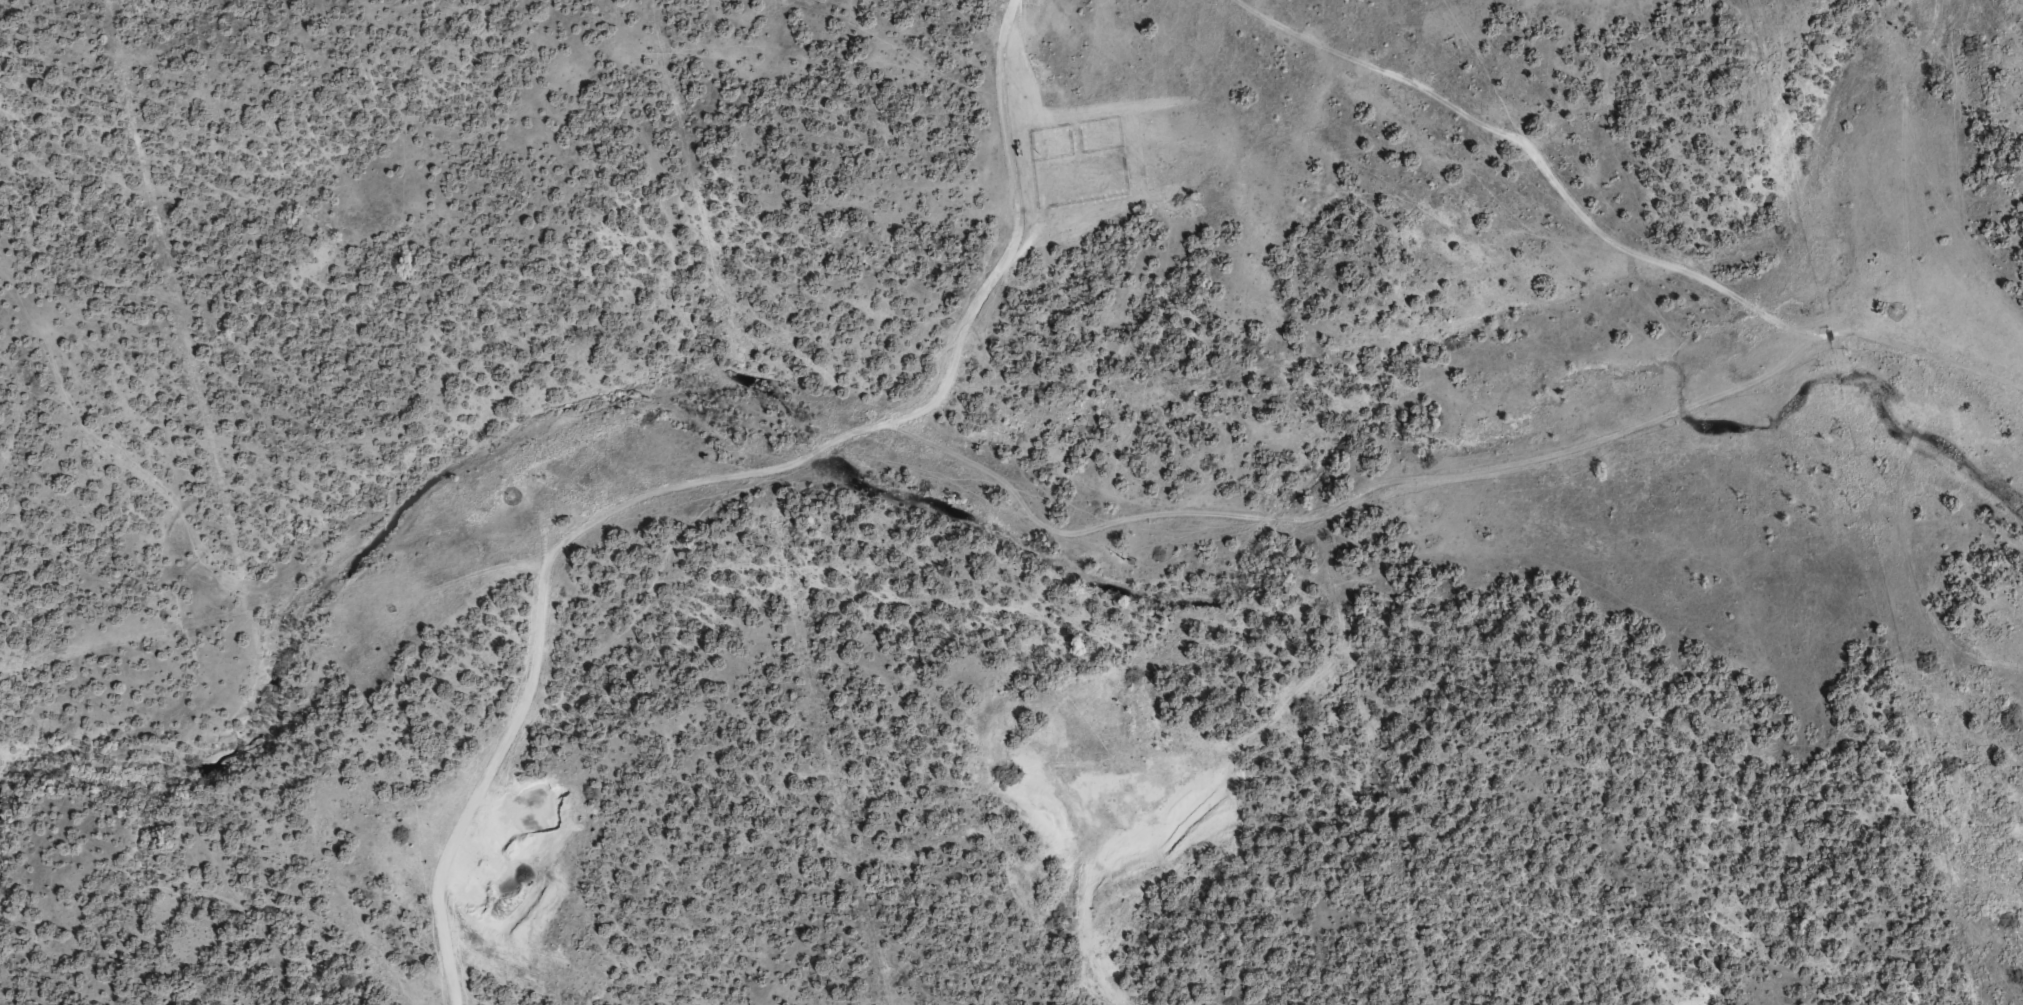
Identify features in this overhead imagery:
road: (1627, 247)
road: (817, 484)
road: (1917, 541)
road: (494, 787)

